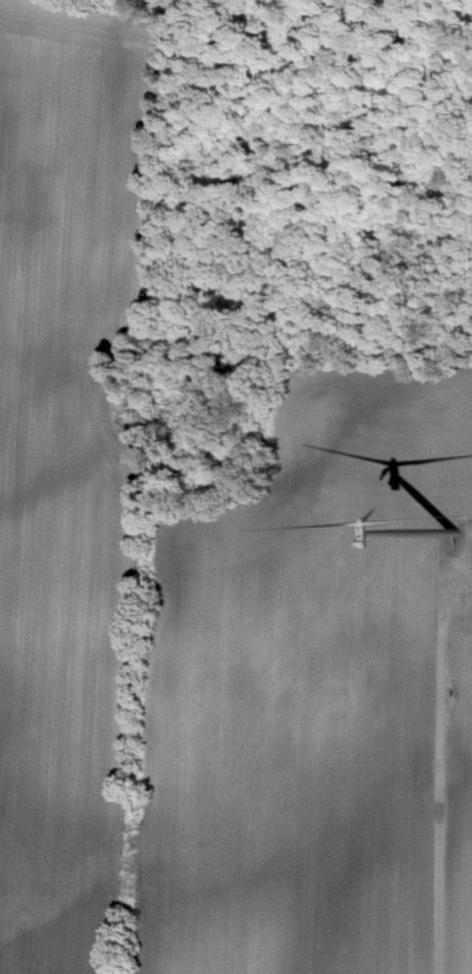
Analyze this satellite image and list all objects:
wind turbine: (453, 530)

